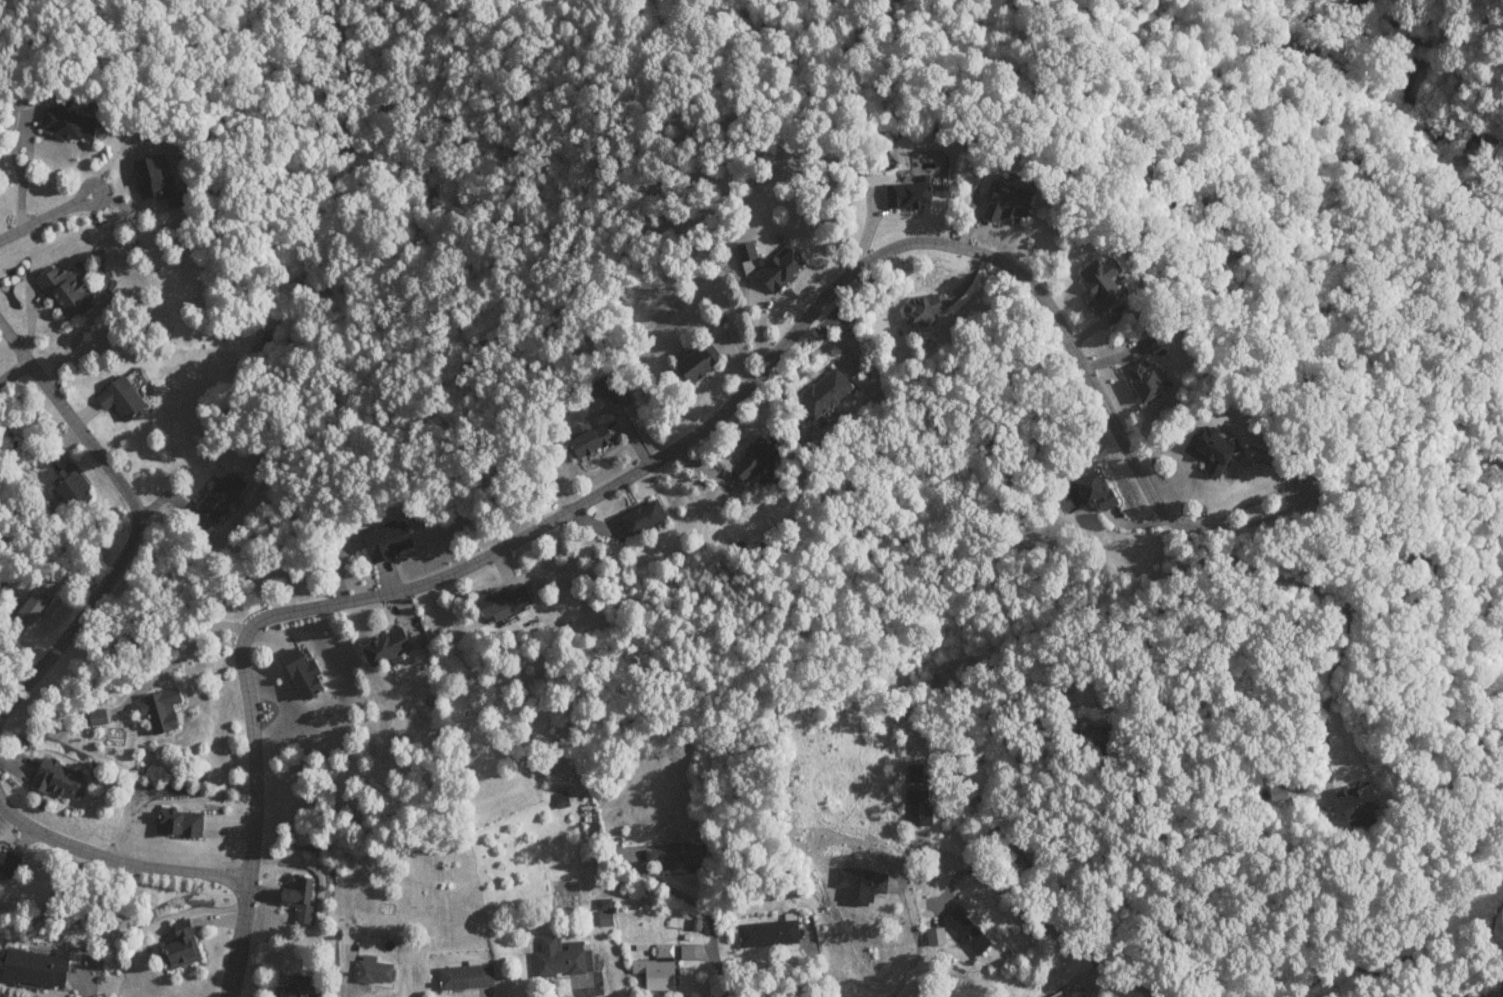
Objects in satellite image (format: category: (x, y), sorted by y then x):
building: (65, 123)
building: (149, 177)
building: (906, 194)
building: (174, 199)
building: (1005, 202)
road: (43, 218)
building: (742, 251)
building: (778, 267)
building: (1098, 284)
building: (62, 290)
building: (921, 309)
building: (1148, 344)
road: (12, 345)
building: (693, 364)
road: (12, 371)
building: (1142, 381)
building: (822, 393)
building: (119, 398)
building: (588, 440)
building: (1210, 450)
building: (754, 463)
road: (642, 468)
building: (1088, 491)
building: (218, 497)
building: (641, 516)
road: (129, 540)
building: (385, 541)
building: (498, 602)
building: (29, 608)
building: (384, 647)
building: (301, 674)
building: (158, 710)
building: (95, 717)
building: (1095, 735)
building: (913, 772)
building: (55, 778)
building: (1276, 792)
building: (559, 799)
building: (1354, 803)
building: (916, 809)
building: (178, 822)
building: (673, 857)
road: (116, 862)
building: (7, 863)
building: (859, 884)
building: (297, 896)
building: (603, 912)
building: (964, 930)
building: (766, 933)
building: (934, 936)
building: (180, 945)
building: (685, 951)
building: (559, 958)
building: (32, 968)
building: (655, 968)
building: (372, 972)
building: (463, 976)
building: (295, 986)
building: (1073, 993)

